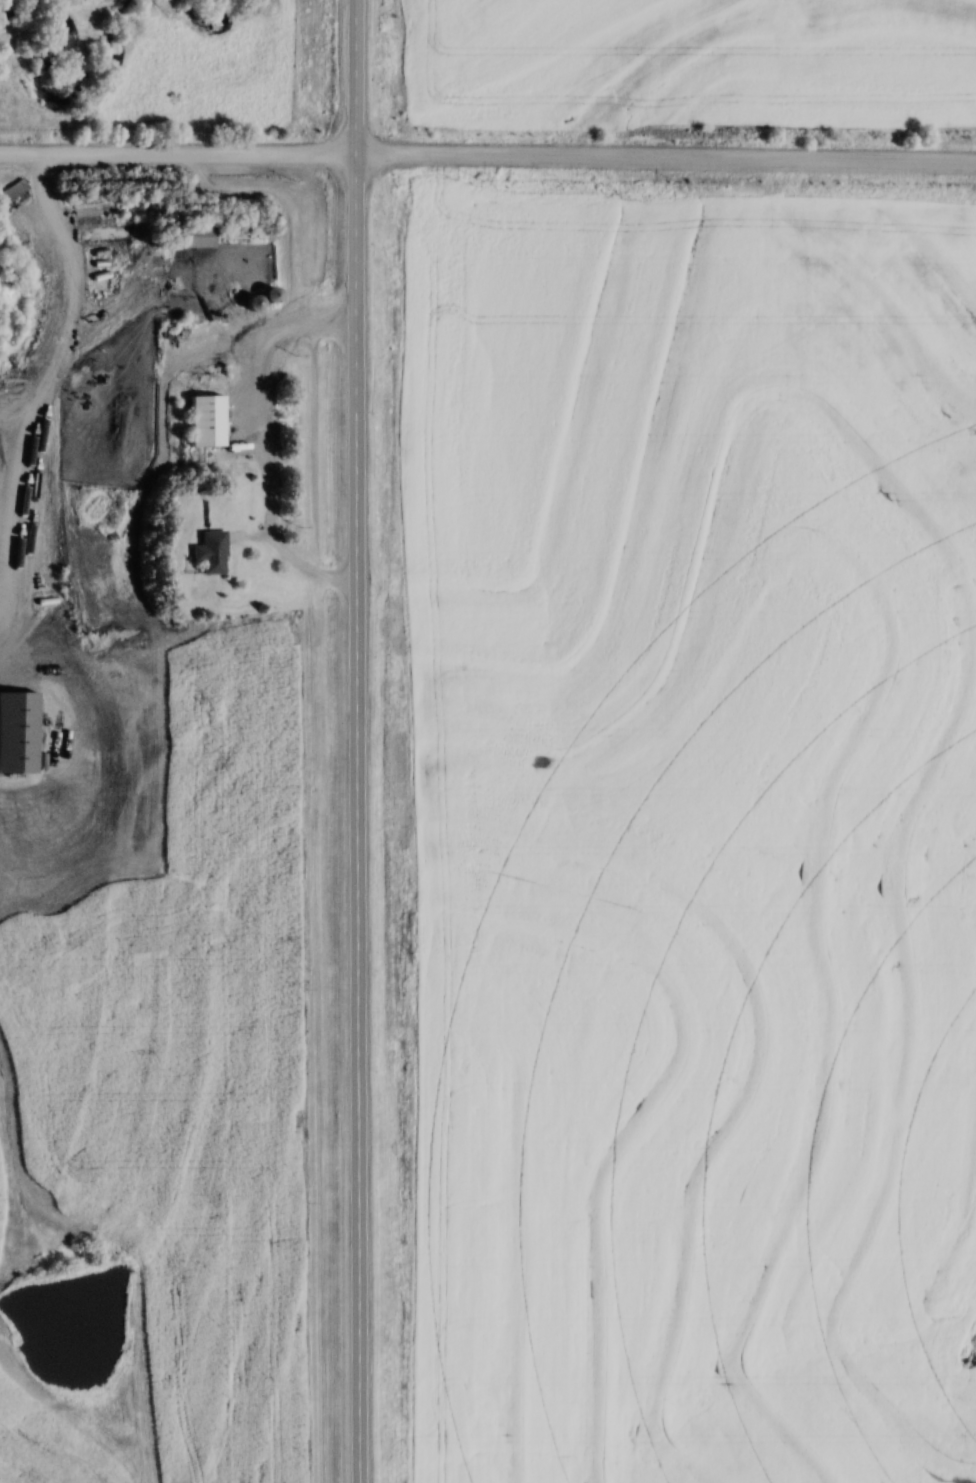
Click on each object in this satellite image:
road: (355, 77)
road: (177, 153)
road: (665, 160)
building: (13, 191)
building: (200, 234)
building: (209, 420)
road: (262, 449)
building: (214, 551)
road: (357, 819)

